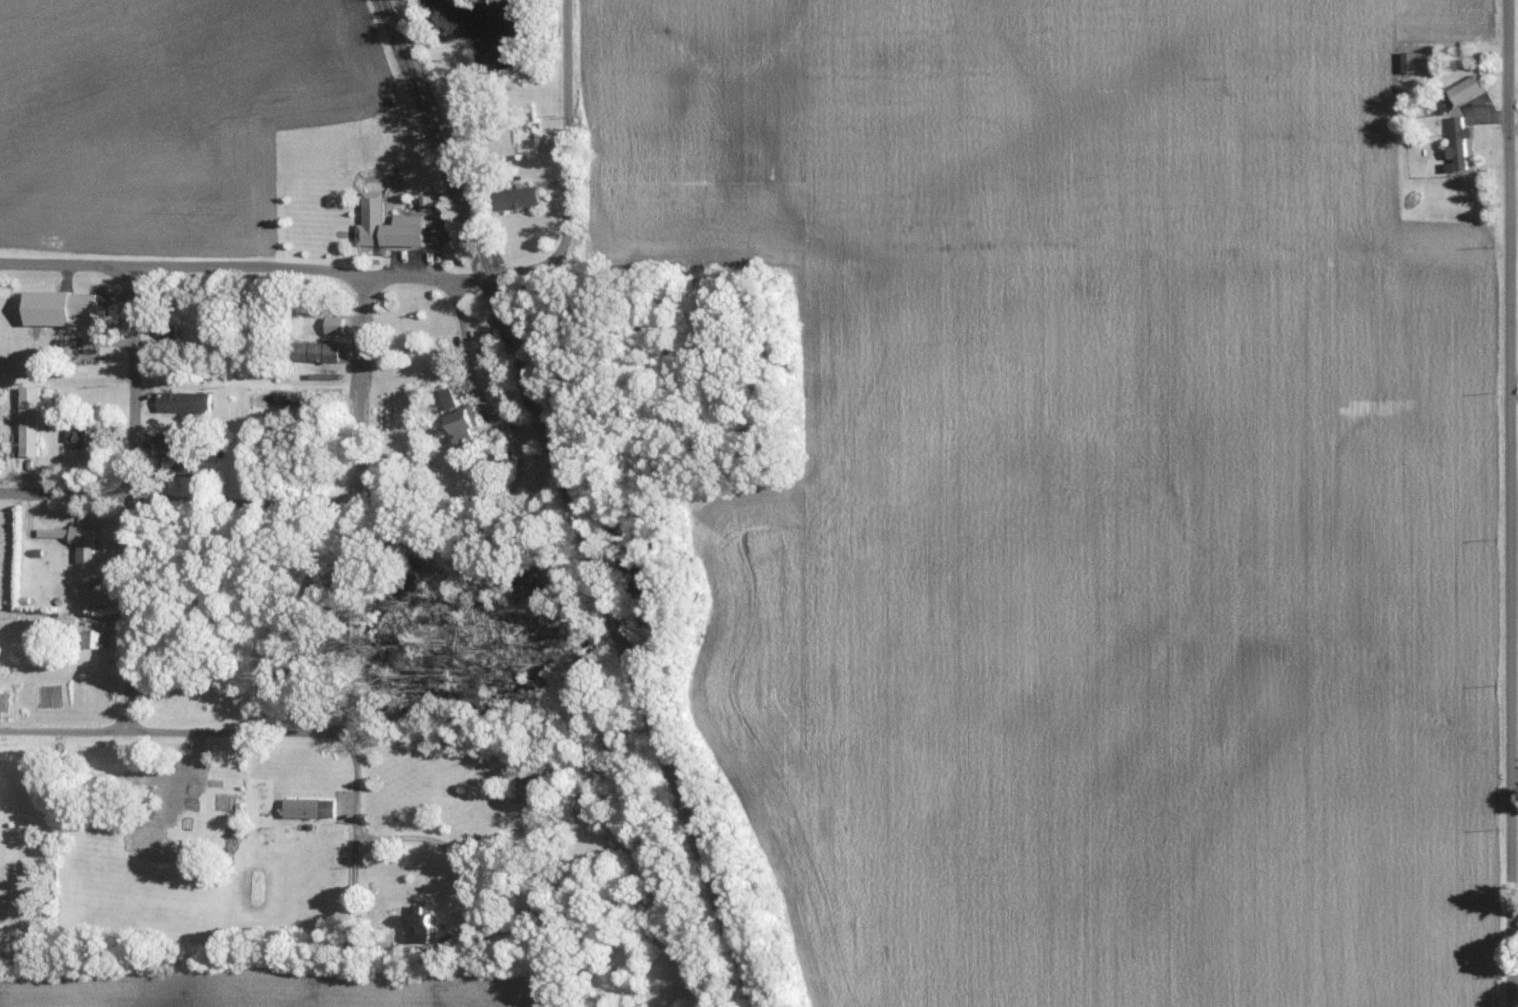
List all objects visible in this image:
building: (1418, 62)
building: (1472, 89)
road: (566, 98)
building: (1461, 153)
building: (524, 198)
building: (395, 235)
road: (553, 257)
road: (245, 267)
building: (87, 304)
building: (170, 331)
building: (322, 351)
building: (91, 361)
building: (449, 400)
building: (188, 401)
road: (486, 405)
building: (34, 421)
building: (470, 423)
building: (90, 439)
building: (187, 461)
road: (130, 497)
road: (239, 501)
road: (1507, 503)
railway: (577, 504)
building: (77, 542)
road: (64, 614)
building: (99, 635)
road: (350, 662)
road: (173, 730)
building: (183, 780)
building: (314, 809)
road: (448, 856)
building: (424, 920)

